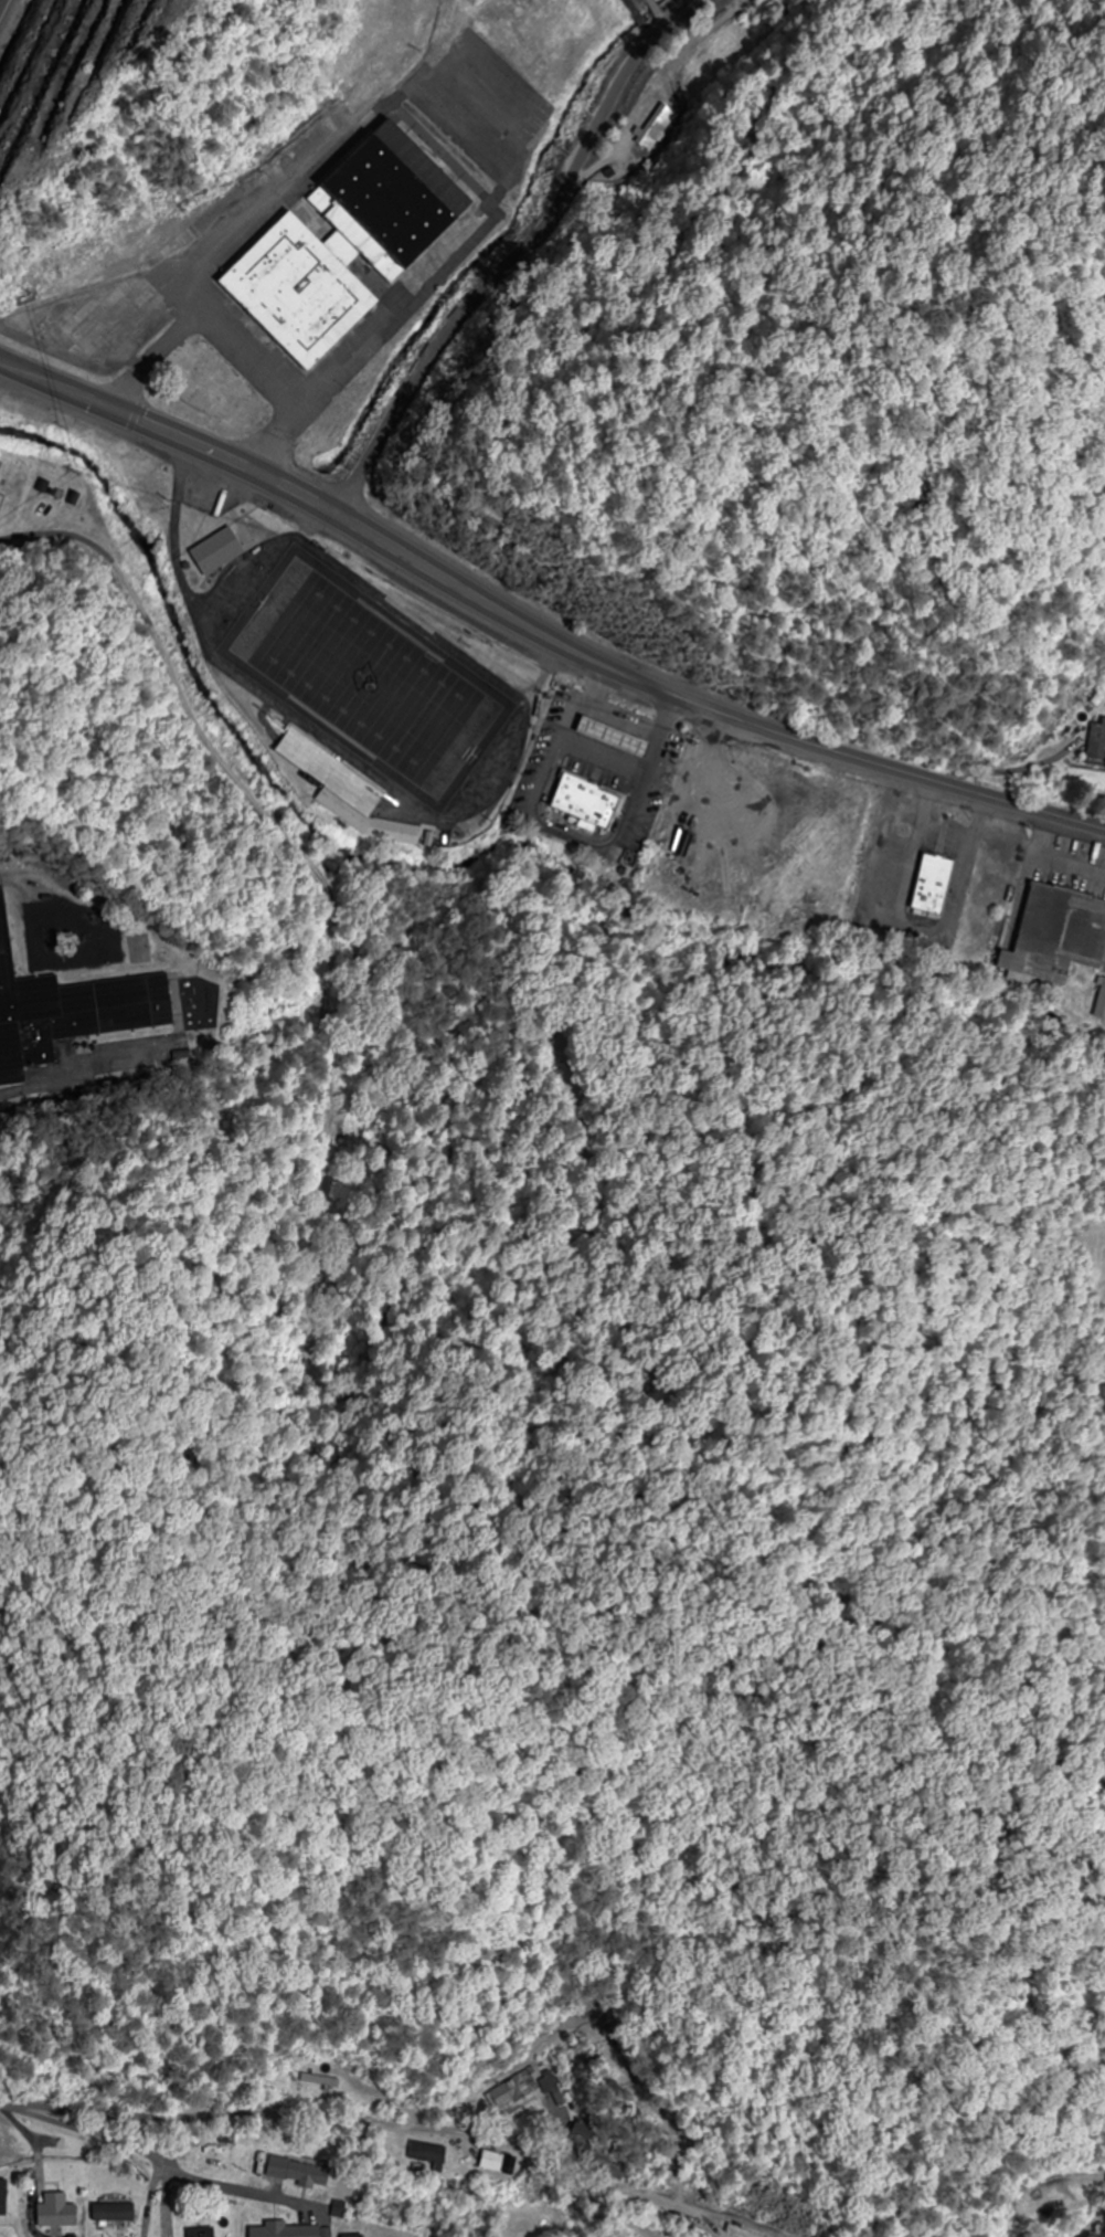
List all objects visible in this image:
road: (1, 1)
road: (661, 9)
building: (531, 120)
building: (346, 238)
road: (518, 260)
building: (1, 500)
building: (210, 551)
road: (536, 633)
park: (369, 676)
building: (606, 737)
building: (1093, 745)
building: (337, 789)
building: (578, 803)
building: (925, 886)
building: (1052, 935)
building: (1098, 1002)
building: (66, 1012)
building: (312, 2082)
building: (521, 2090)
road: (337, 2123)
building: (422, 2153)
building: (201, 2159)
road: (156, 2161)
building: (485, 2161)
building: (294, 2173)
building: (3, 2197)
building: (53, 2214)
building: (108, 2214)
building: (290, 2230)
building: (201, 2231)
building: (733, 2231)

